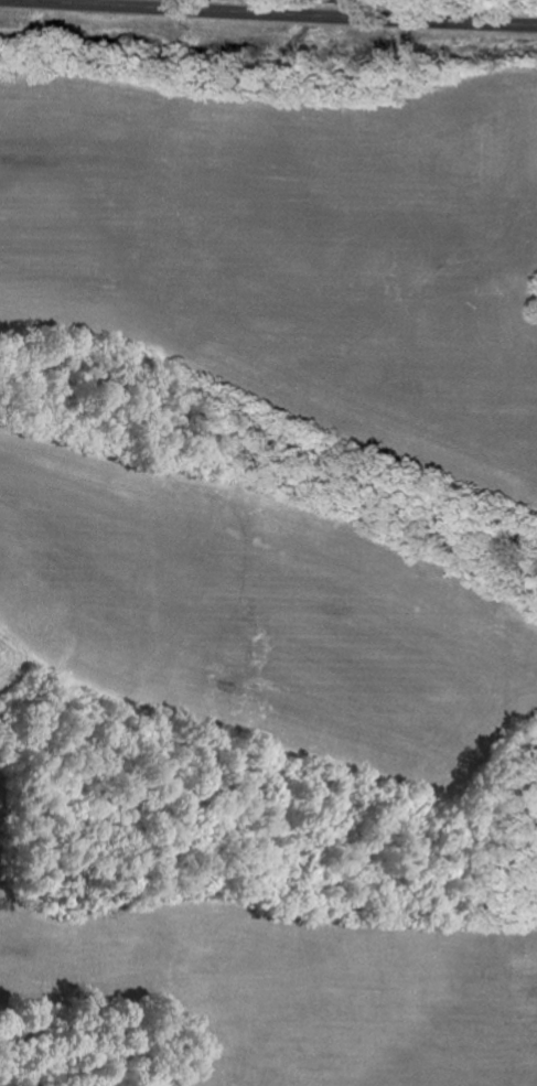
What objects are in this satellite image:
road: (101, 1)
road: (298, 9)

